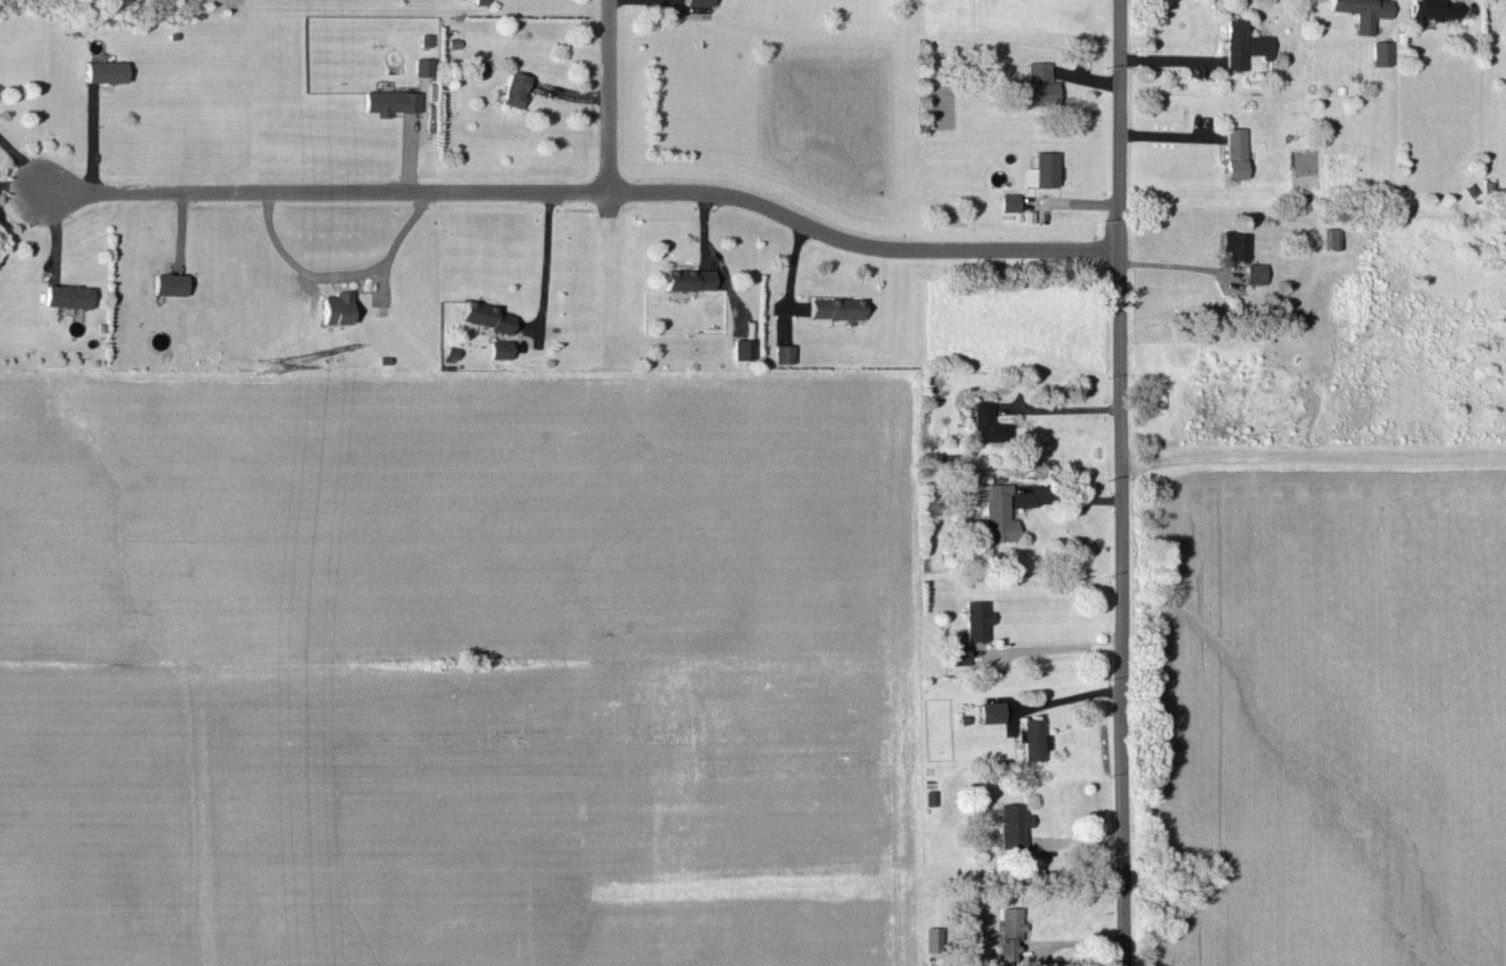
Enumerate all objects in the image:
building: (697, 2)
building: (1430, 9)
building: (1360, 11)
building: (1242, 44)
building: (1379, 52)
building: (423, 66)
building: (106, 70)
building: (1039, 83)
building: (513, 88)
road: (613, 96)
building: (390, 101)
road: (92, 138)
building: (1234, 152)
road: (21, 166)
building: (1041, 169)
road: (583, 192)
building: (1008, 201)
building: (1330, 238)
building: (1234, 244)
road: (548, 267)
road: (1166, 267)
building: (1254, 272)
road: (338, 275)
building: (689, 278)
building: (168, 283)
building: (66, 295)
building: (336, 307)
building: (836, 307)
building: (487, 315)
building: (501, 348)
building: (744, 348)
building: (784, 352)
power tower: (267, 365)
road: (1054, 410)
building: (987, 422)
road: (1313, 457)
road: (1122, 482)
road: (1070, 499)
building: (996, 510)
building: (977, 619)
road: (1061, 650)
building: (960, 653)
road: (1069, 698)
building: (991, 711)
building: (1034, 739)
building: (1012, 824)
building: (1009, 932)
building: (934, 938)

